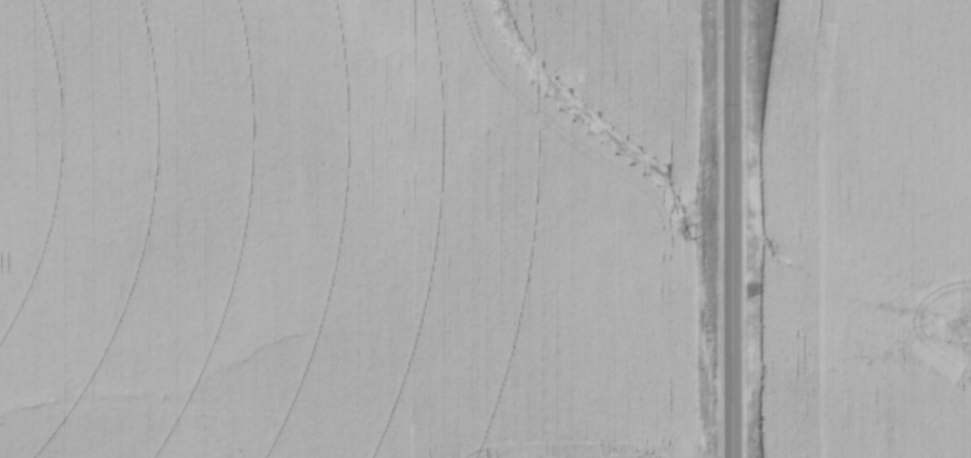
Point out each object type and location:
road: (733, 229)

